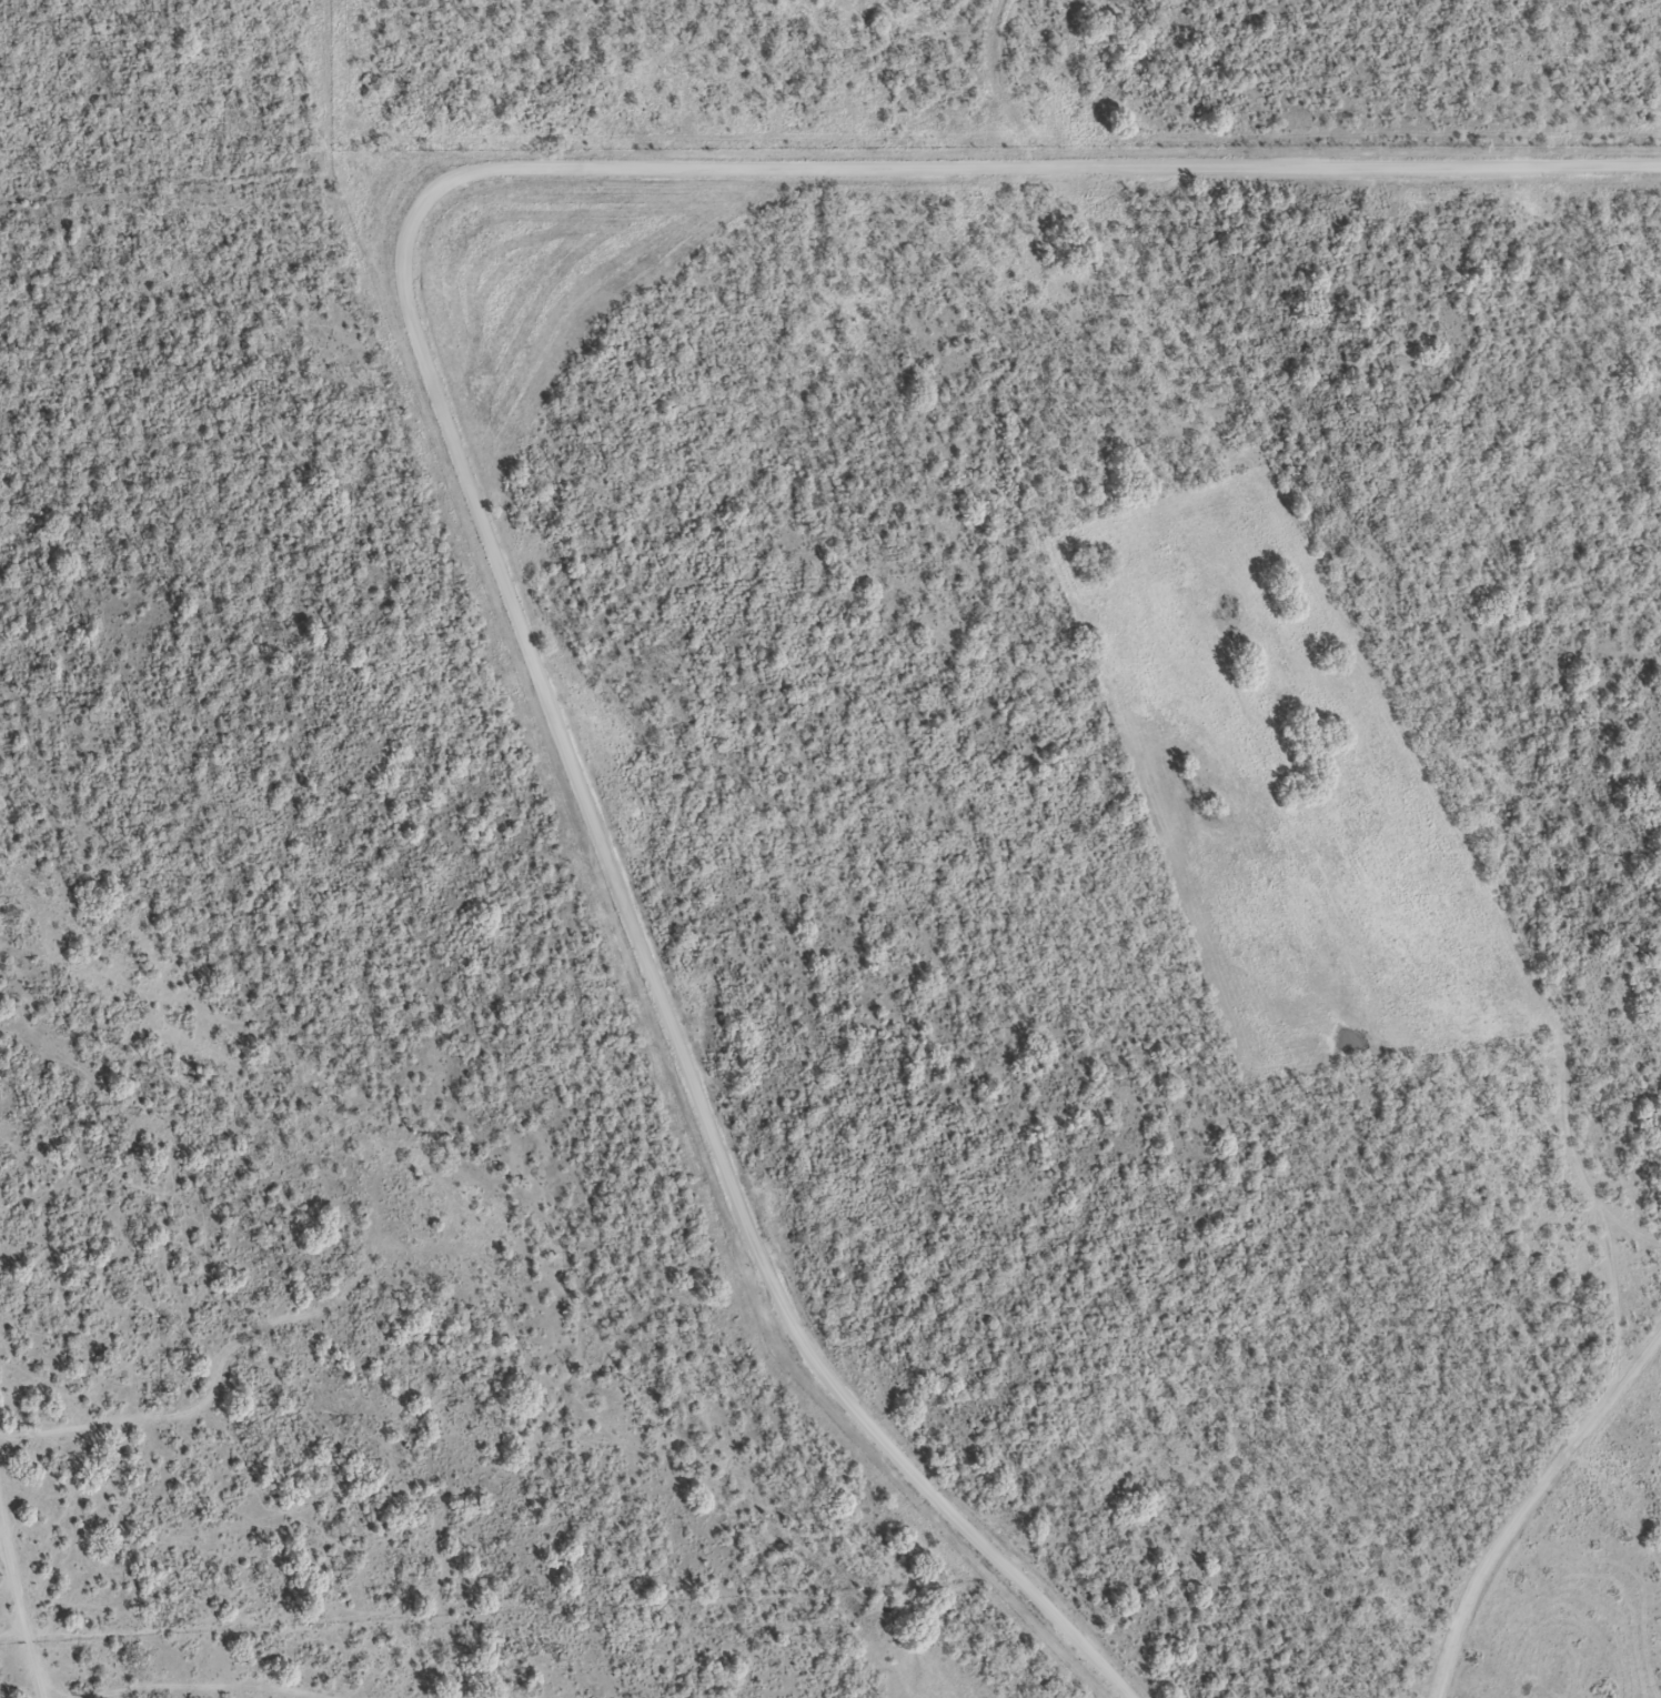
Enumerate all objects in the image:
road: (1529, 1505)
road: (22, 1594)

